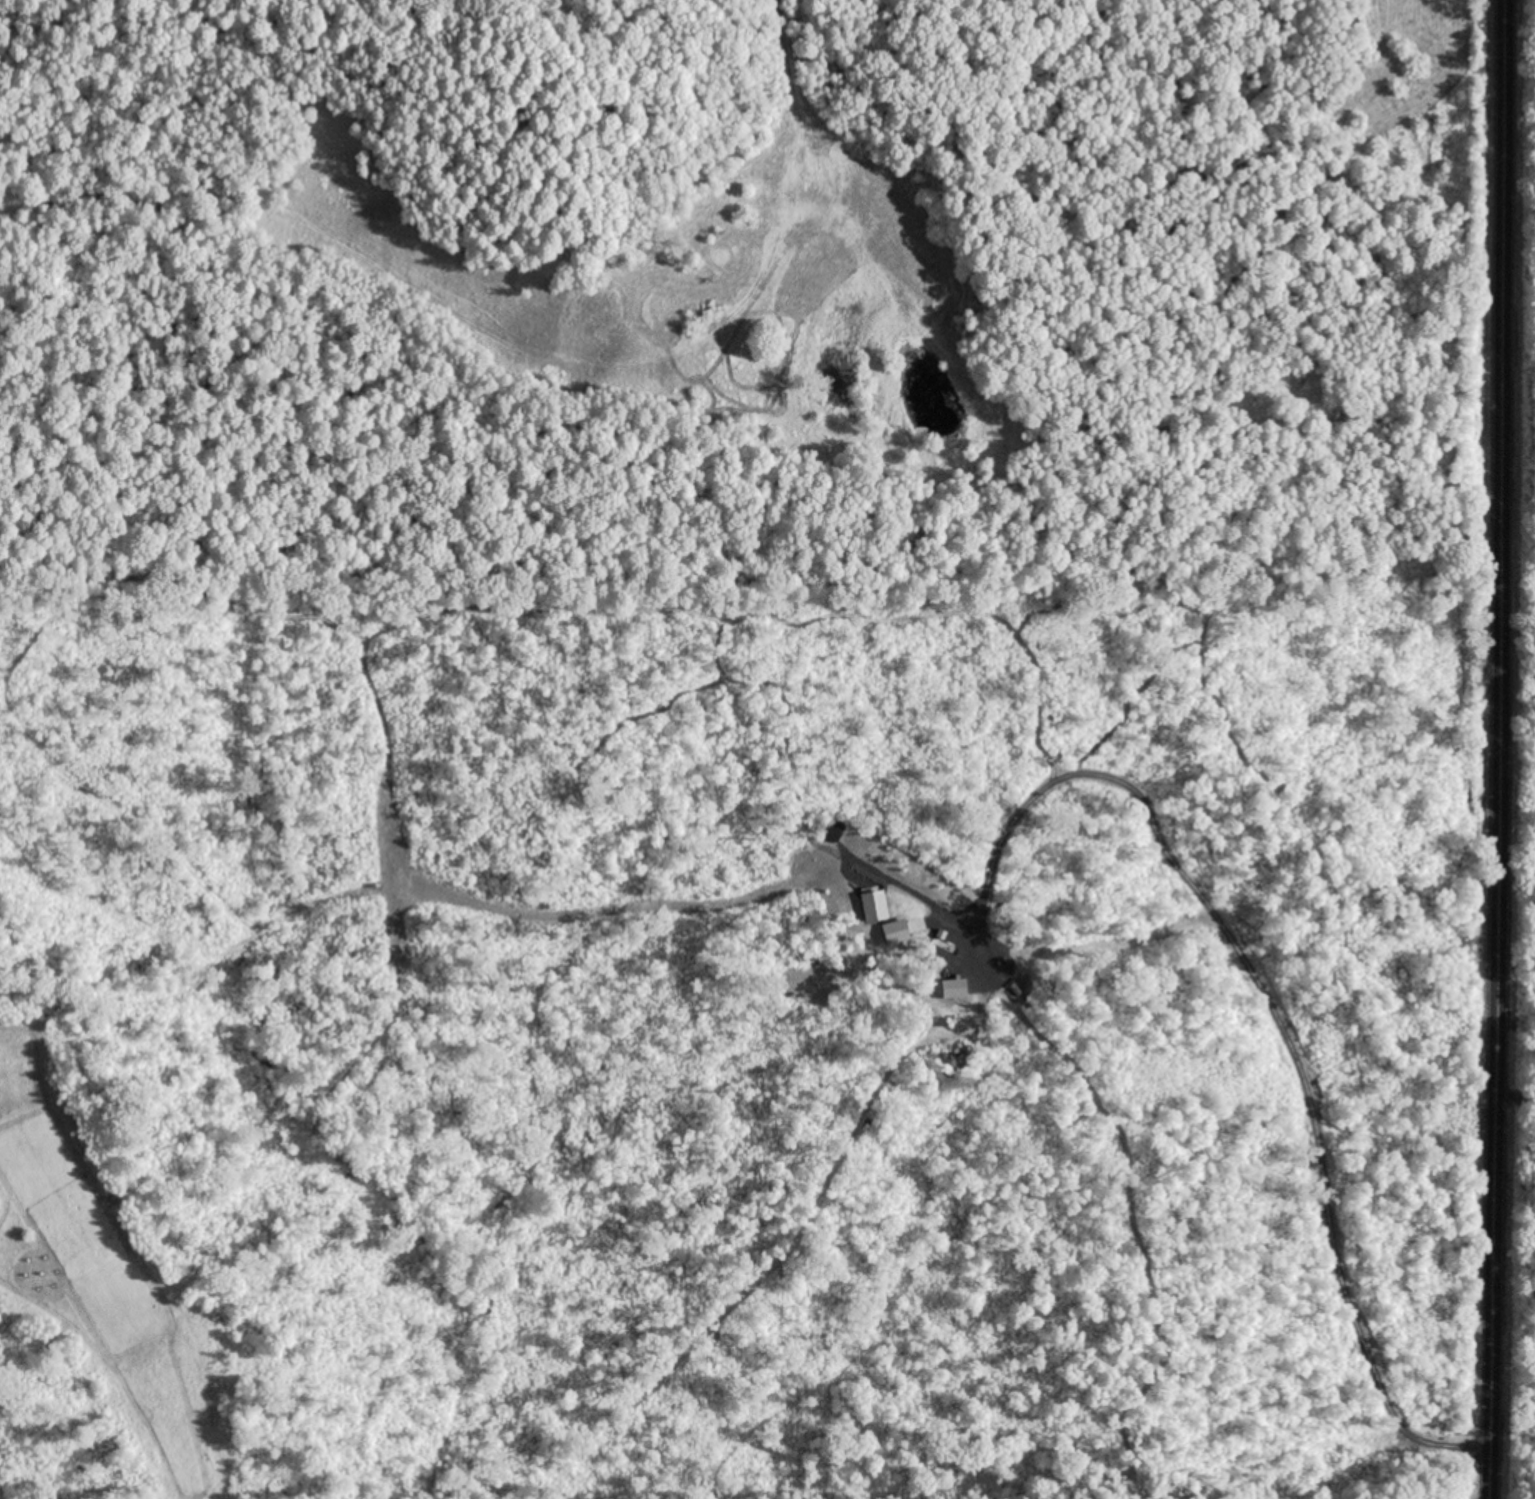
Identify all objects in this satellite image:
road: (1498, 749)

